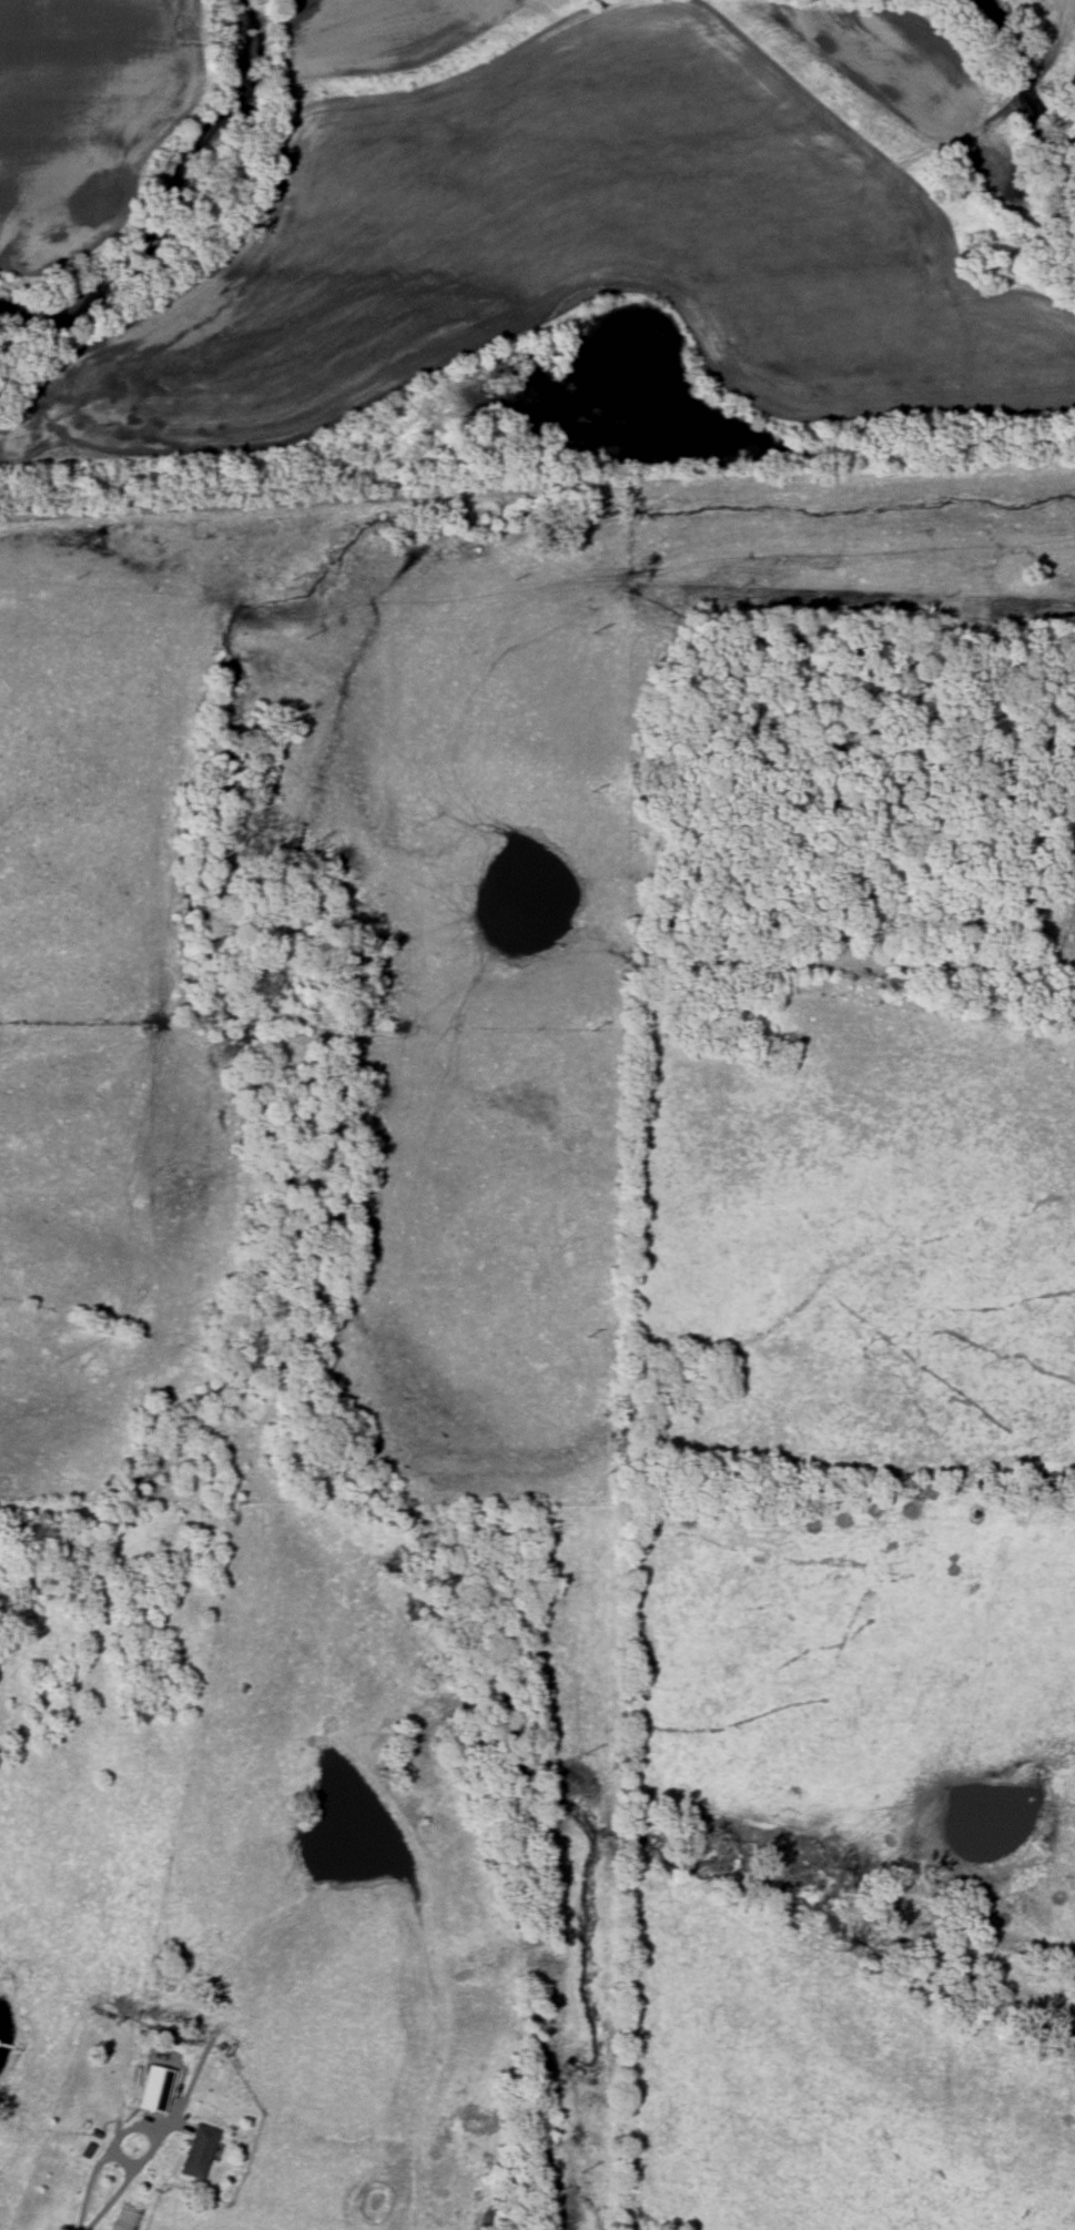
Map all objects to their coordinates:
river: (1022, 51)
river: (1054, 195)
river: (212, 233)
building: (156, 2090)
road: (155, 2130)
building: (197, 2153)
road: (126, 2158)
road: (90, 2185)
road: (111, 2200)

